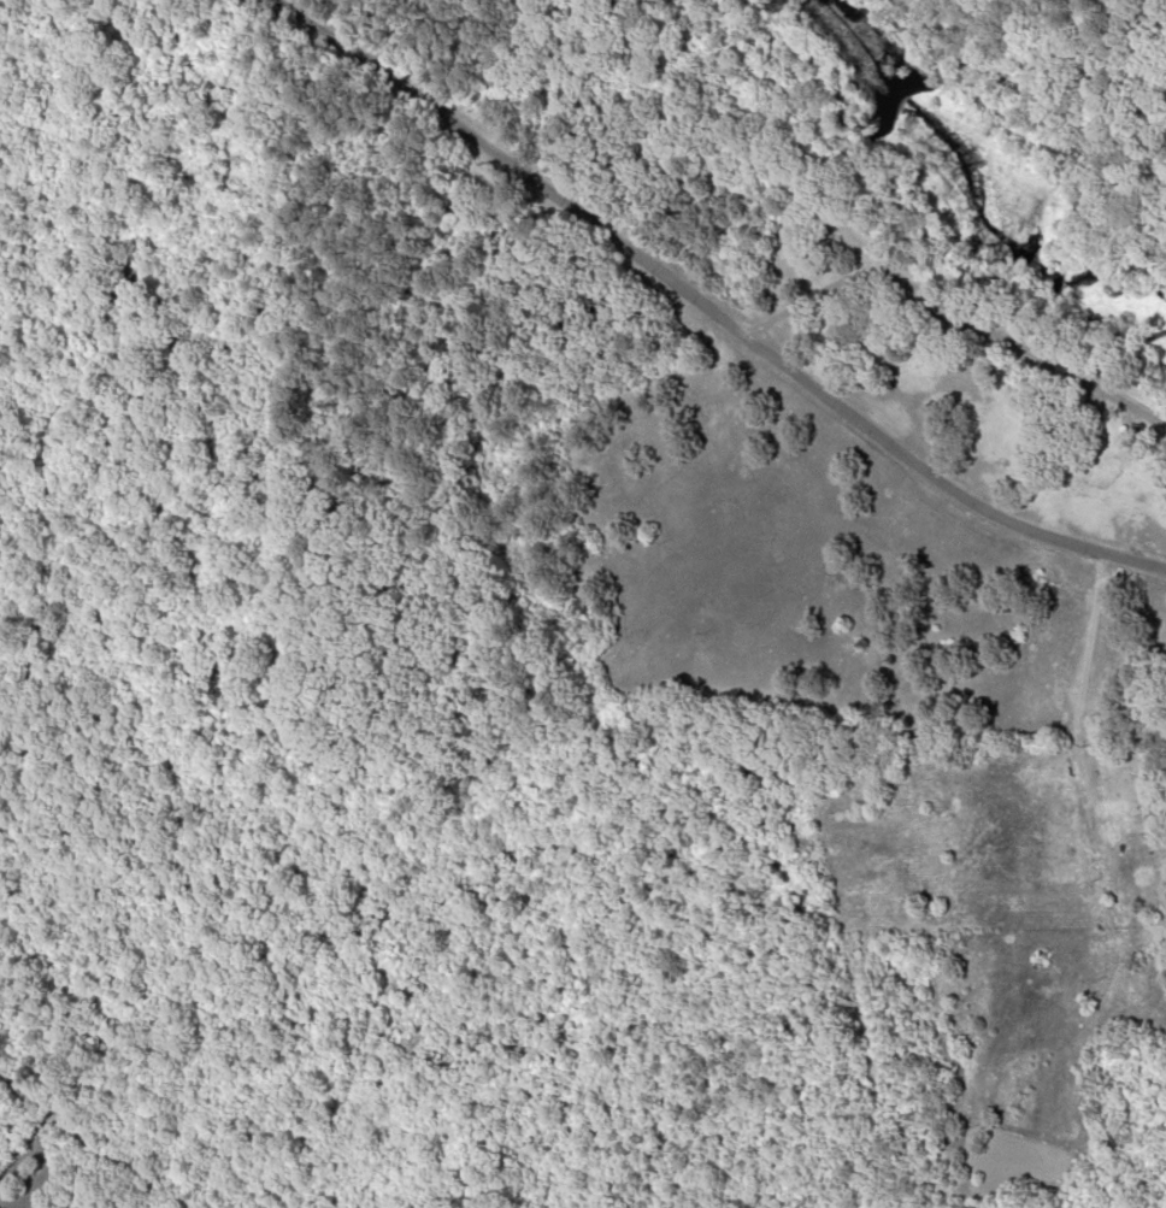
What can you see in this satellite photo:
road: (502, 160)
road: (493, 330)
road: (932, 473)

